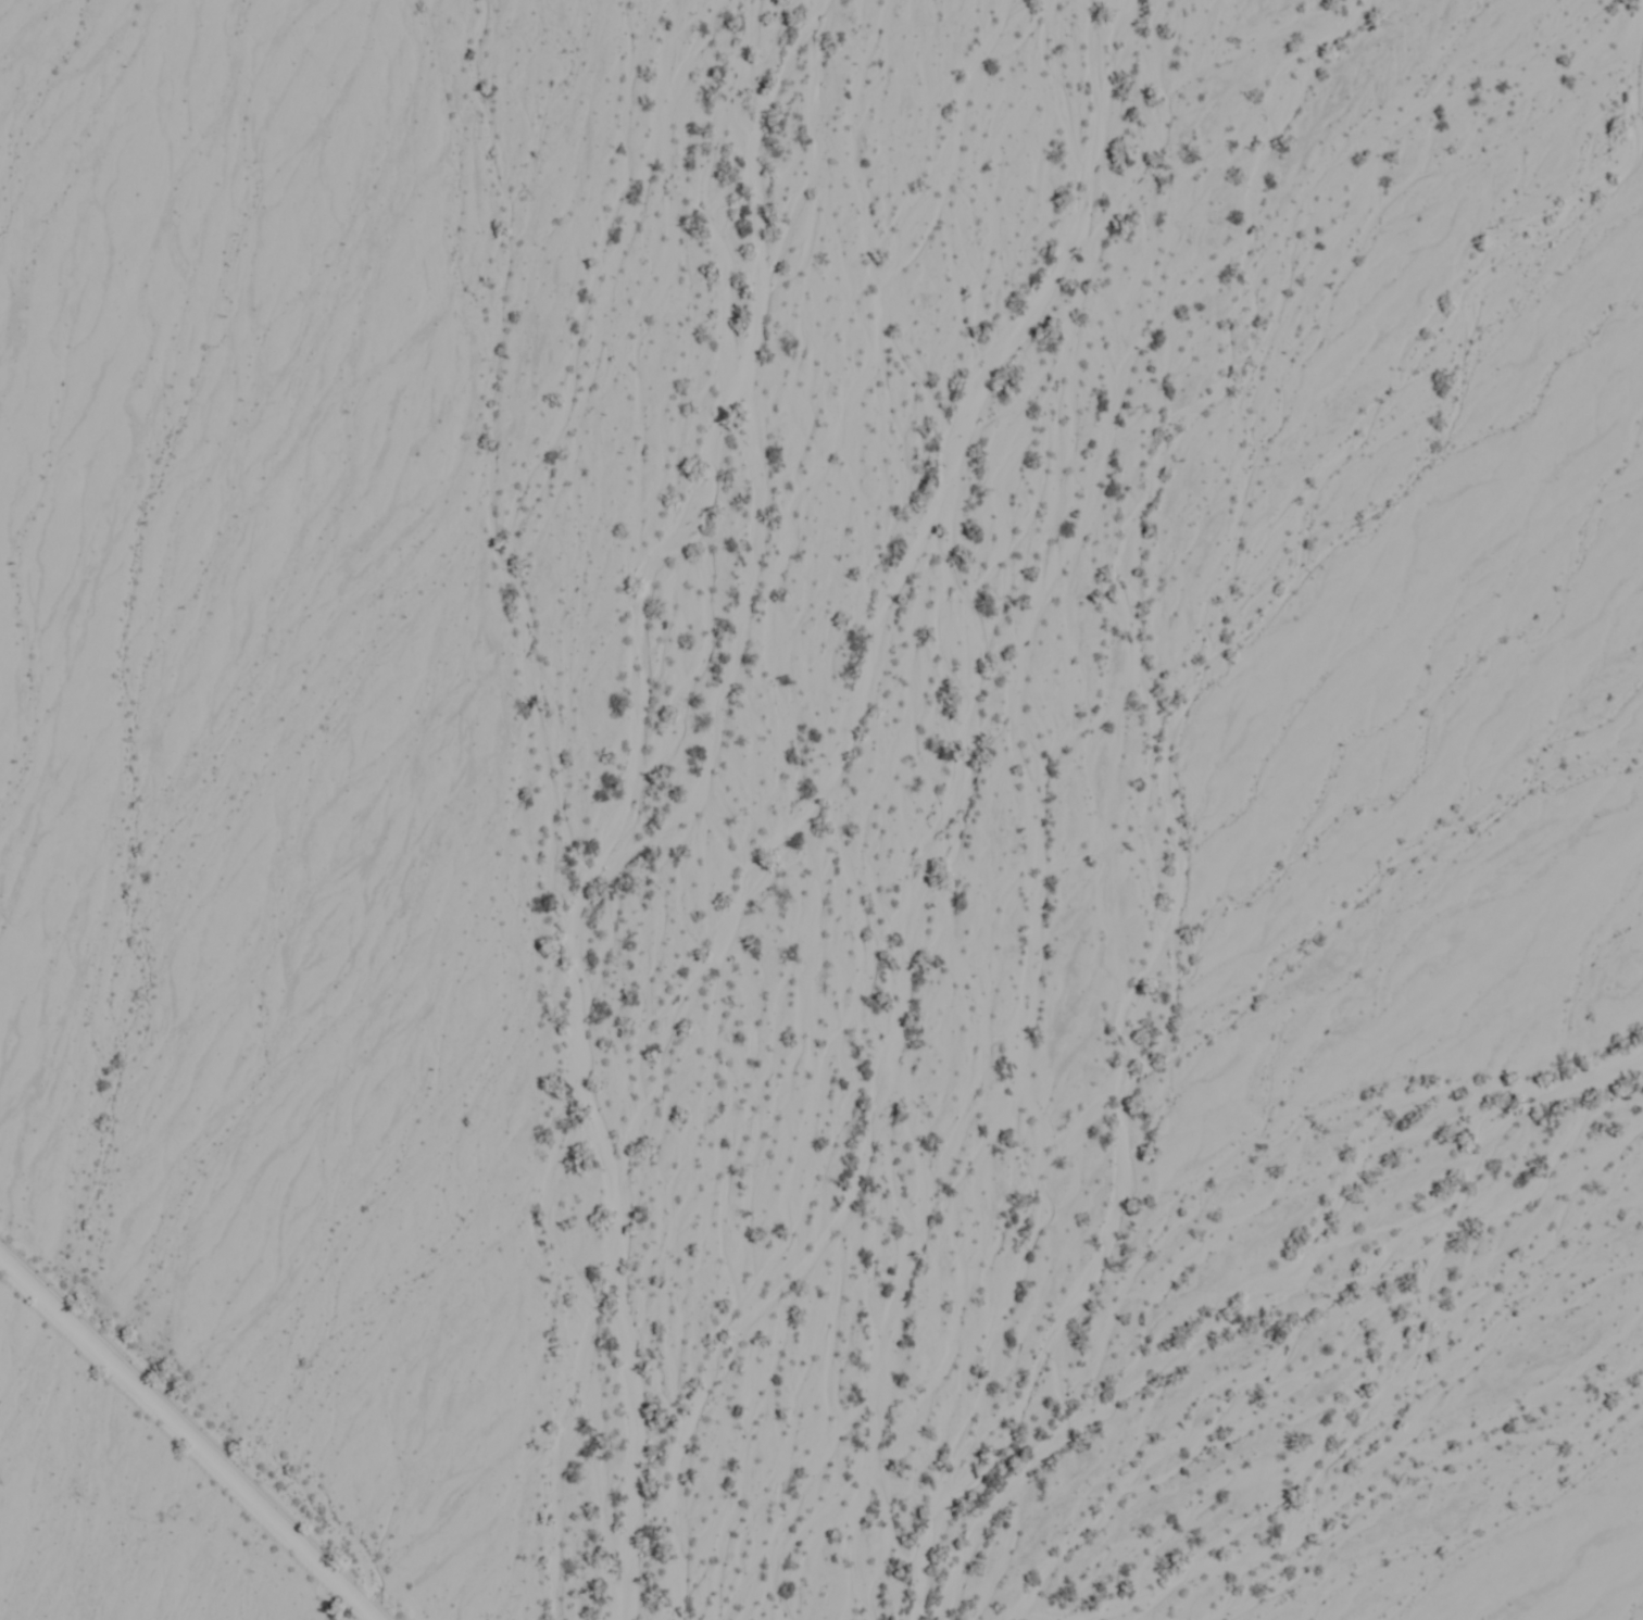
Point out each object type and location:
road: (171, 1447)

